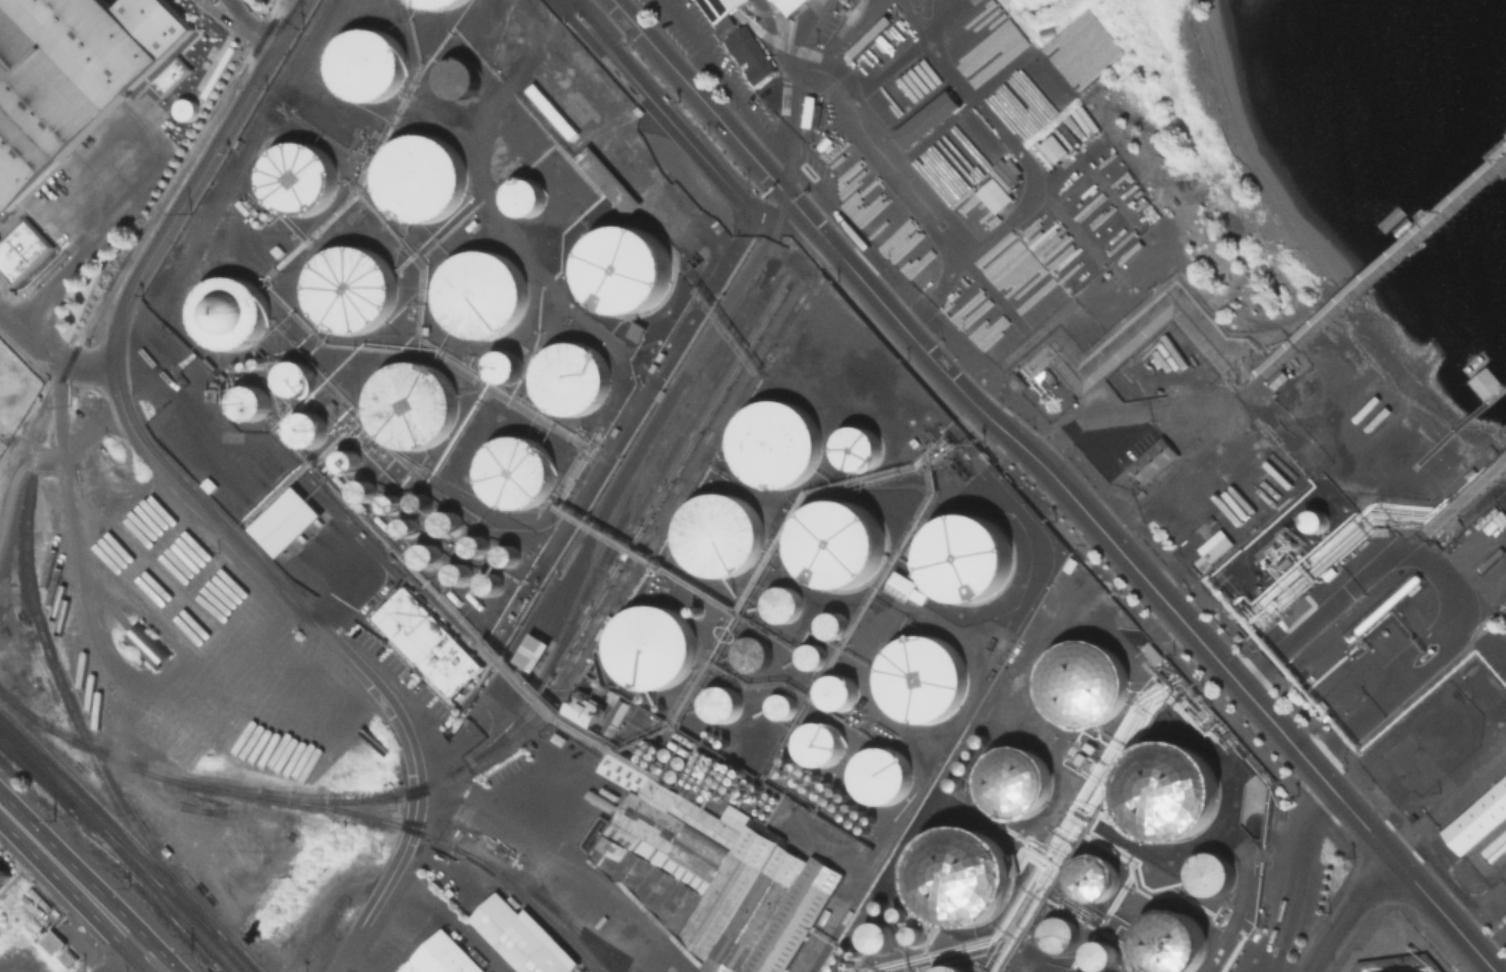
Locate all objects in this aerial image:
building: (781, 1)
building: (436, 2)
storage tank: (436, 2)
building: (709, 4)
road: (225, 16)
road: (288, 22)
road: (255, 32)
traffic signals: (275, 44)
building: (751, 54)
building: (364, 61)
storage tank: (364, 61)
road: (694, 65)
road: (886, 65)
road: (159, 70)
road: (717, 71)
building: (69, 74)
building: (168, 75)
building: (458, 75)
storage tank: (458, 75)
road: (789, 82)
road: (154, 92)
road: (961, 107)
building: (184, 108)
building: (638, 109)
parking lot: (152, 110)
building: (551, 110)
road: (912, 110)
building: (811, 112)
building: (818, 112)
building: (927, 123)
building: (1054, 147)
road: (880, 152)
road: (1030, 171)
building: (419, 175)
storage tank: (419, 175)
building: (295, 176)
storage tank: (295, 176)
building: (606, 180)
building: (998, 184)
building: (524, 194)
storage tank: (524, 194)
road: (180, 199)
parking lot: (2, 209)
road: (1, 235)
road: (77, 239)
pier: (1403, 242)
building: (20, 250)
road: (77, 251)
building: (624, 269)
storage tank: (624, 269)
road: (45, 270)
building: (349, 287)
storage tank: (349, 287)
building: (481, 294)
storage tank: (481, 294)
road: (995, 294)
road: (11, 302)
building: (227, 311)
storage tank: (227, 311)
building: (634, 330)
road: (50, 356)
building: (504, 365)
storage tank: (504, 365)
building: (572, 376)
storage tank: (572, 376)
building: (294, 377)
railway: (676, 399)
building: (248, 402)
building: (409, 404)
storage tank: (409, 404)
road: (1189, 420)
building: (306, 427)
pier: (1453, 428)
pier: (1504, 430)
railway: (40, 432)
building: (774, 442)
storage tank: (774, 442)
building: (856, 446)
storage tank: (856, 446)
road: (39, 456)
railway: (662, 457)
building: (1153, 458)
building: (344, 459)
building: (516, 470)
storage tank: (516, 470)
railway: (662, 476)
road: (1059, 480)
building: (361, 489)
pier: (1464, 492)
building: (418, 501)
railway: (660, 511)
building: (285, 519)
building: (1314, 520)
building: (1493, 521)
building: (446, 523)
building: (718, 534)
storage tank: (718, 534)
building: (834, 541)
storage tank: (834, 541)
building: (474, 545)
building: (1211, 548)
building: (1503, 551)
building: (426, 554)
building: (506, 555)
building: (967, 555)
storage tank: (967, 555)
road: (262, 569)
building: (458, 573)
building: (489, 583)
building: (904, 587)
building: (781, 602)
storage tank: (781, 602)
building: (831, 623)
storage tank: (831, 623)
building: (427, 640)
building: (147, 644)
building: (651, 645)
storage tank: (651, 645)
building: (1400, 648)
building: (532, 650)
building: (749, 651)
storage tank: (749, 651)
building: (1151, 652)
building: (807, 655)
storage tank: (807, 655)
building: (922, 679)
storage tank: (922, 679)
building: (1082, 681)
storage tank: (1082, 681)
building: (835, 691)
storage tank: (835, 691)
building: (718, 701)
storage tank: (718, 701)
building: (779, 707)
storage tank: (779, 707)
building: (580, 710)
building: (977, 740)
building: (816, 741)
storage tank: (816, 741)
railway: (475, 764)
building: (961, 766)
railway: (36, 770)
building: (877, 774)
storage tank: (877, 774)
building: (1014, 780)
storage tank: (1014, 780)
railway: (425, 781)
railway: (50, 782)
building: (1166, 792)
storage tank: (1166, 792)
railway: (294, 798)
railway: (315, 803)
building: (1479, 823)
railway: (107, 825)
railway: (133, 836)
railway: (498, 836)
road: (1306, 841)
building: (1493, 844)
building: (1210, 871)
storage tank: (1210, 871)
building: (957, 873)
storage tank: (957, 873)
road: (66, 874)
building: (4, 875)
building: (707, 875)
building: (1094, 877)
storage tank: (1094, 877)
road: (386, 879)
railway: (157, 882)
railway: (542, 900)
railway: (169, 902)
building: (877, 905)
storage tank: (877, 905)
road: (1346, 909)
building: (897, 912)
storage tank: (897, 912)
building: (34, 924)
road: (1274, 931)
building: (1058, 932)
storage tank: (1058, 932)
building: (911, 933)
storage tank: (911, 933)
building: (877, 935)
storage tank: (877, 935)
road: (1281, 935)
building: (515, 936)
building: (52, 938)
building: (1169, 942)
storage tank: (1169, 942)
railway: (596, 948)
railway: (231, 952)
building: (66, 954)
building: (1100, 954)
storage tank: (1100, 954)
road: (116, 956)
road: (147, 956)
building: (445, 957)
road: (1262, 966)
building: (949, 968)
storage tank: (949, 968)

